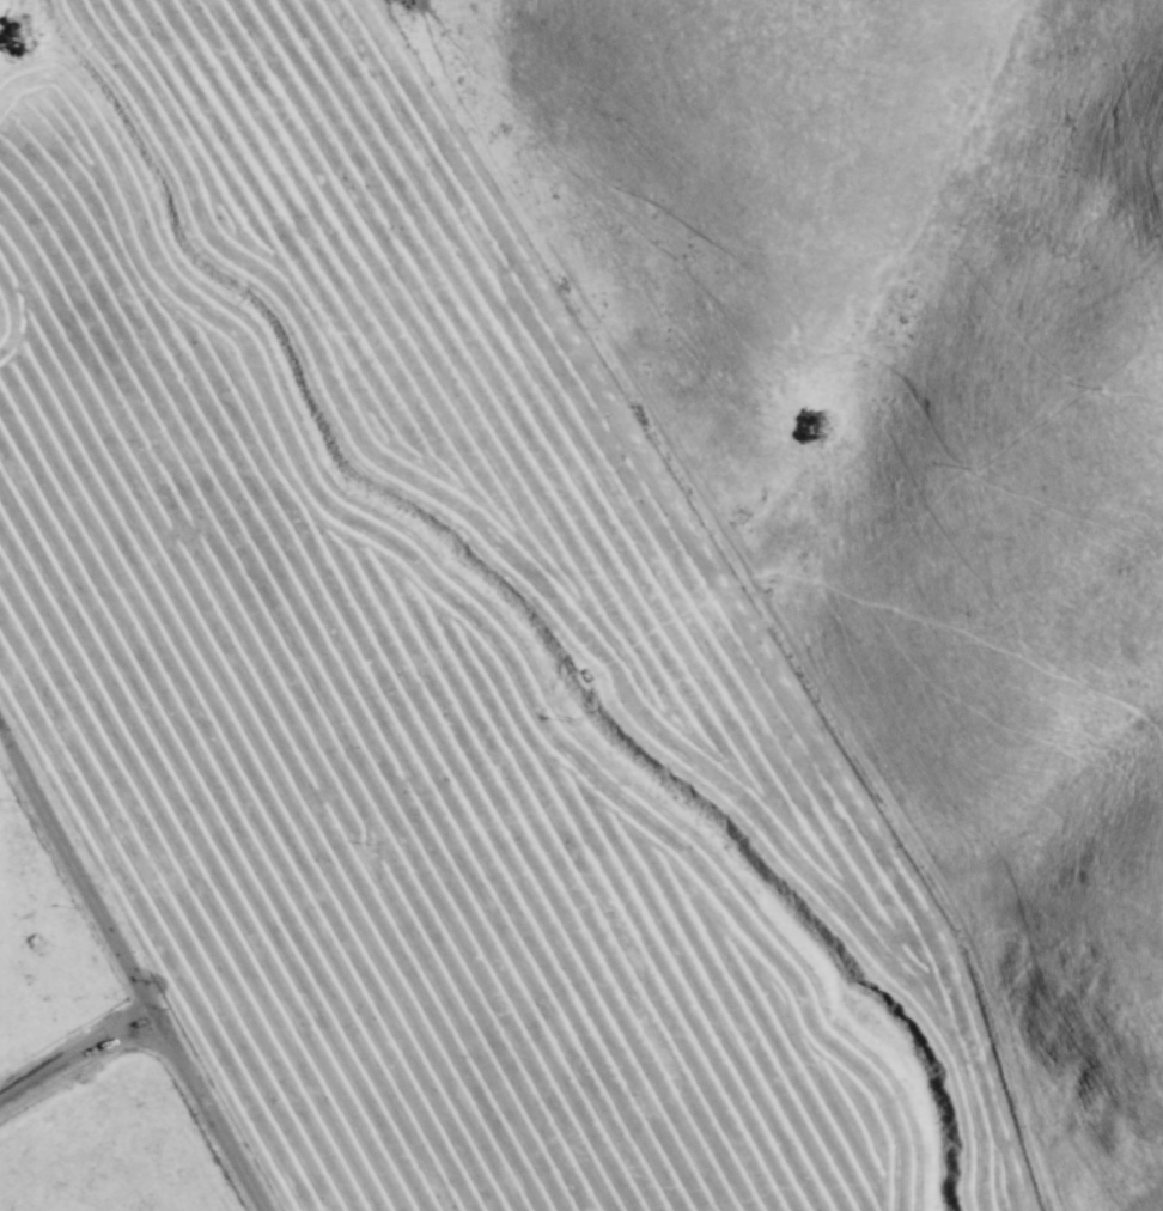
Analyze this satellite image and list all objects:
crop: (425, 678)
road: (67, 890)
road: (74, 1054)
road: (195, 1113)

